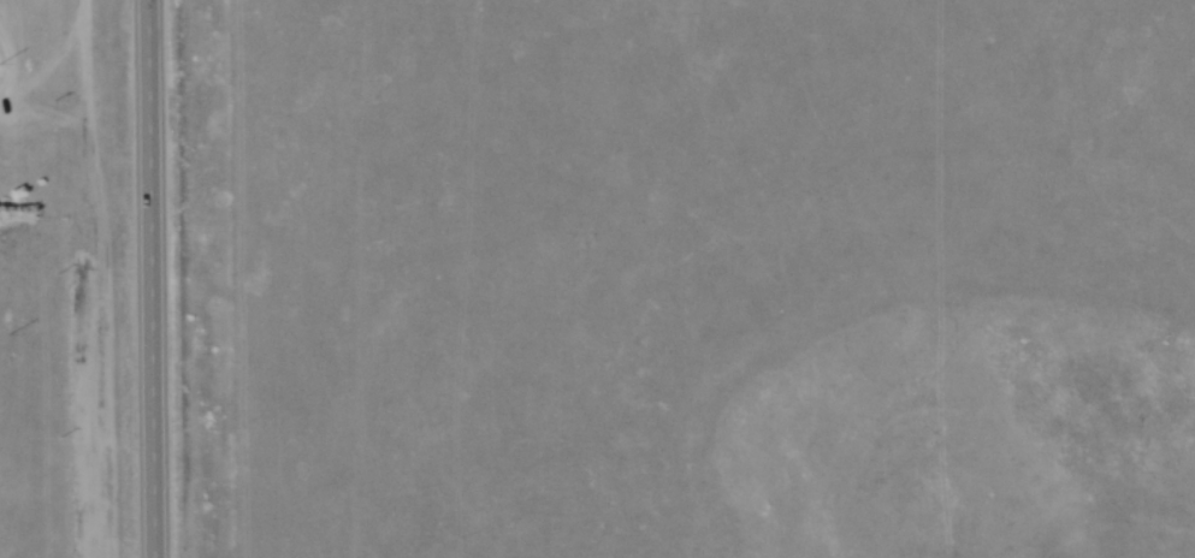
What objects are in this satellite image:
road: (85, 279)
road: (146, 279)

